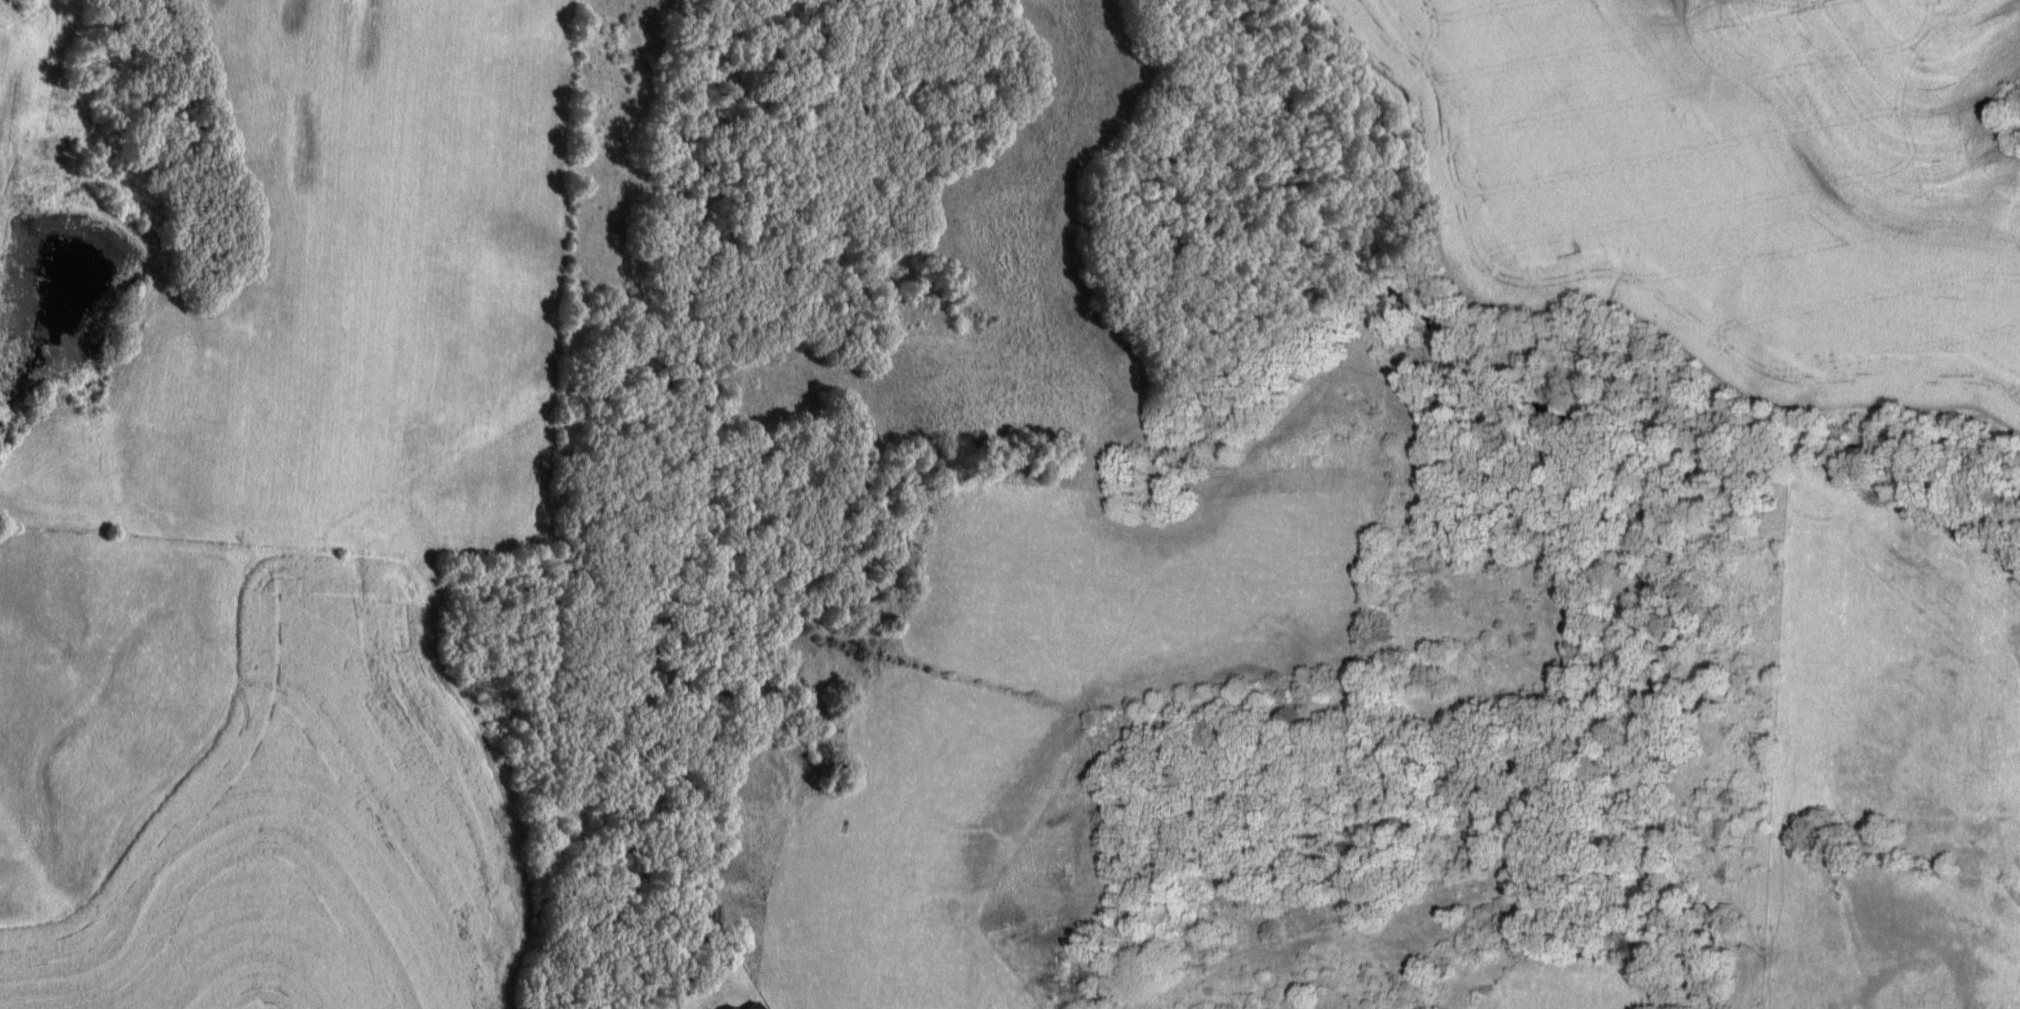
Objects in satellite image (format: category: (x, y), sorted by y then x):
building: (1099, 997)
building: (758, 1007)

